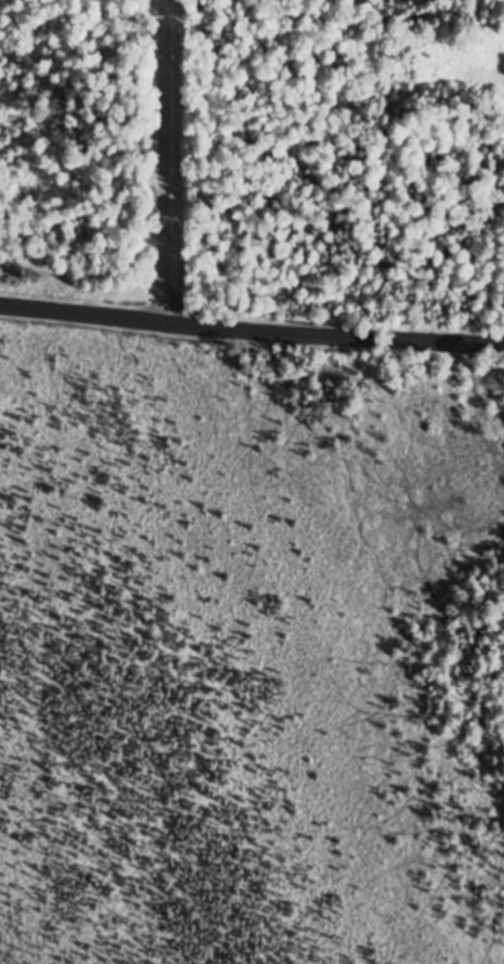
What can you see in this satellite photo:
road: (163, 162)
road: (251, 332)

